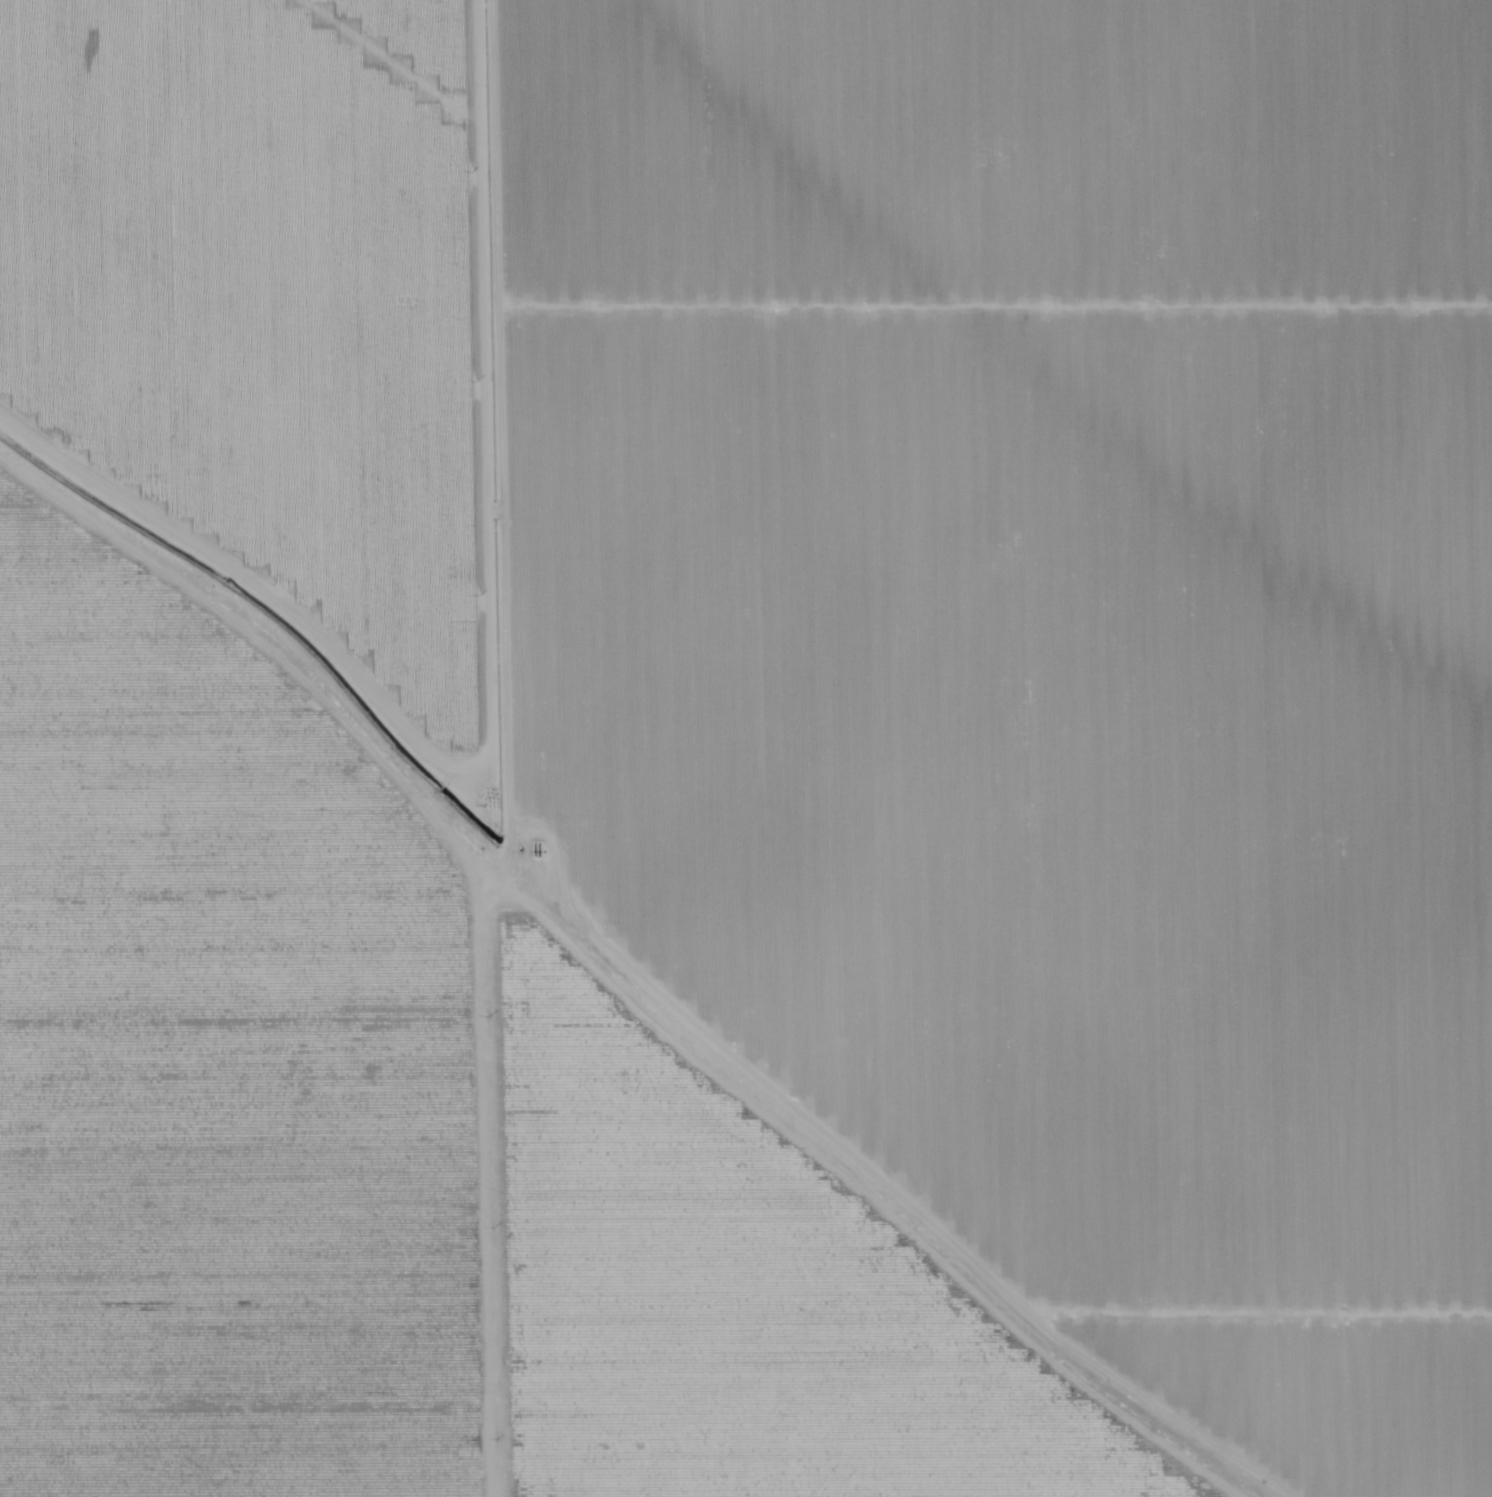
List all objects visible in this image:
crop: (266, 305)
crop: (1038, 654)
crop: (225, 1069)
crop: (735, 1294)

